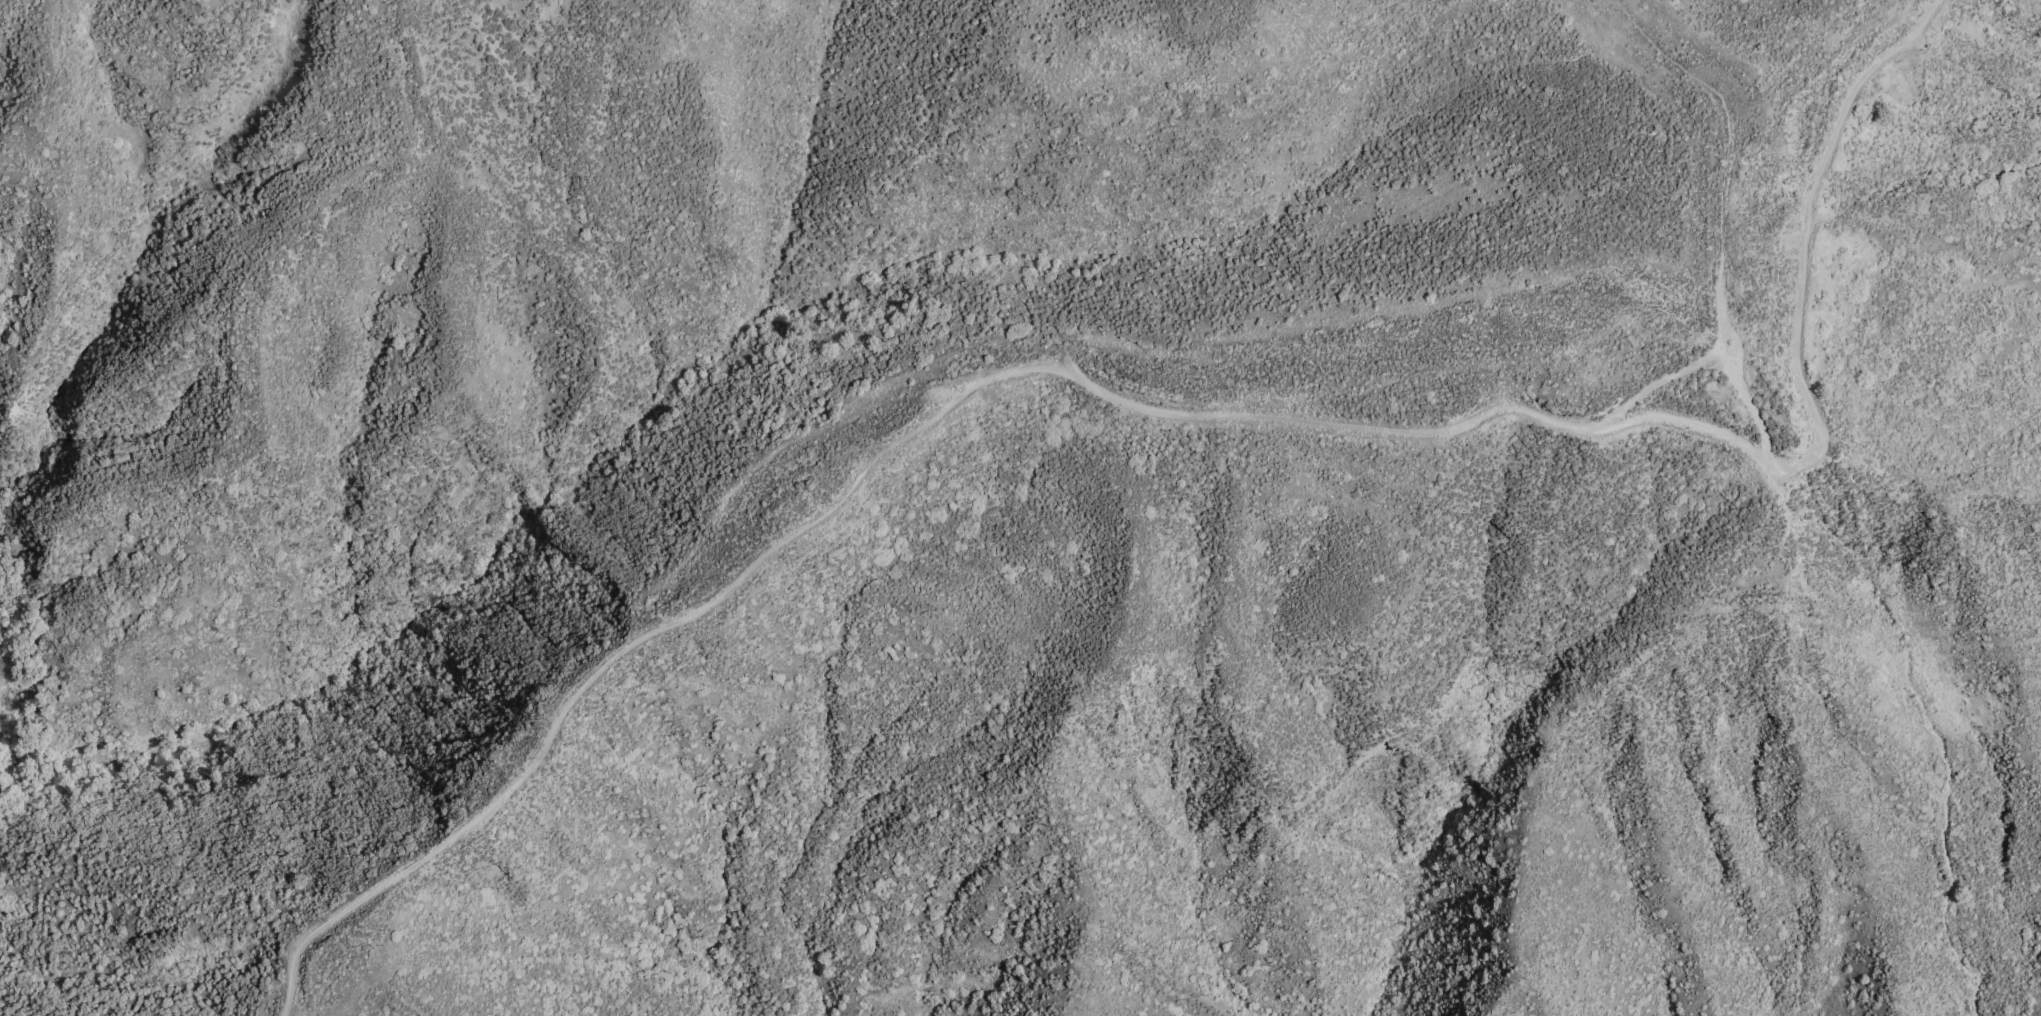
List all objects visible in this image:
road: (1725, 115)
road: (1683, 367)
road: (1751, 402)
road: (1173, 412)

